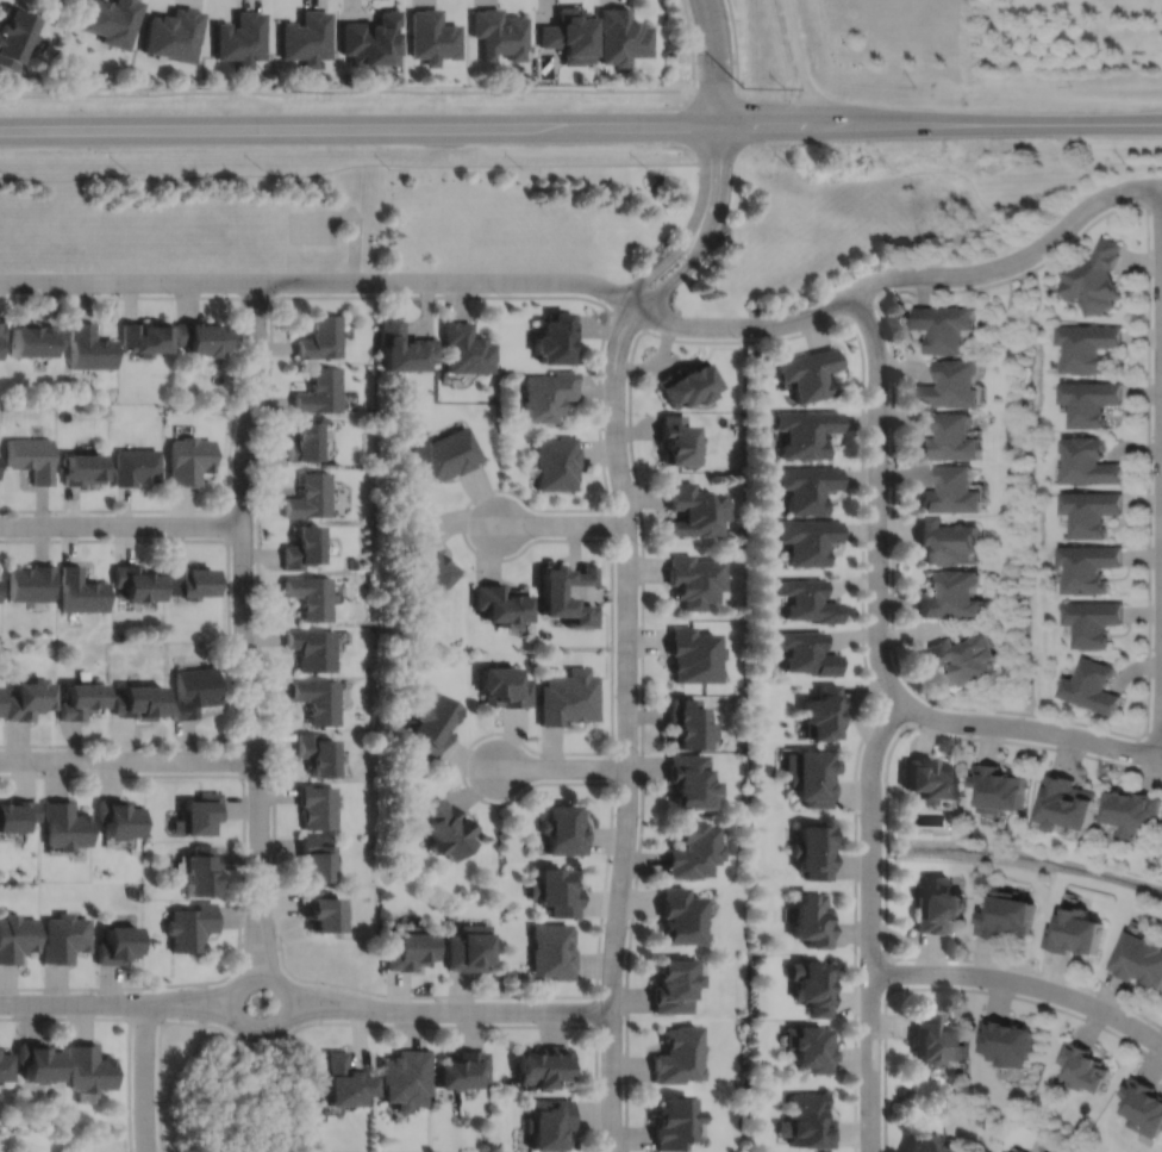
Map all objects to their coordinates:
building: (29, 0)
street lamp: (727, 18)
building: (112, 20)
building: (500, 32)
building: (174, 33)
building: (13, 35)
building: (569, 35)
building: (432, 36)
building: (620, 36)
building: (240, 37)
building: (307, 37)
building: (371, 38)
road: (733, 38)
road: (693, 44)
road: (714, 63)
road: (800, 63)
street lamp: (698, 80)
power tower: (742, 88)
power tower: (285, 89)
road: (357, 91)
road: (1020, 125)
road: (439, 129)
road: (717, 162)
road: (349, 164)
street lamp: (732, 188)
road: (1151, 204)
street lamp: (1062, 213)
road: (351, 216)
parking lot: (312, 226)
street lamp: (662, 251)
road: (673, 251)
road: (691, 261)
building: (1095, 279)
road: (129, 281)
street lamp: (948, 286)
street lamp: (60, 292)
street lamp: (170, 292)
street lamp: (374, 292)
street lamp: (499, 292)
street lamp: (279, 293)
road: (257, 295)
street lamp: (602, 300)
road: (861, 305)
road: (630, 318)
road: (723, 325)
building: (944, 328)
building: (1, 331)
building: (200, 337)
street lamp: (738, 337)
building: (145, 338)
building: (323, 338)
building: (555, 340)
road: (758, 340)
building: (33, 341)
building: (88, 348)
building: (1088, 348)
building: (405, 349)
building: (467, 349)
street lamp: (891, 354)
street lamp: (268, 362)
building: (811, 373)
street lamp: (1149, 376)
building: (686, 385)
building: (954, 385)
building: (321, 392)
road: (238, 394)
building: (549, 396)
building: (1092, 403)
street lamp: (627, 411)
building: (807, 432)
building: (951, 440)
building: (304, 442)
building: (676, 442)
street lamp: (235, 448)
road: (1154, 454)
building: (448, 455)
building: (32, 457)
building: (189, 460)
building: (1089, 461)
street lamp: (868, 462)
building: (556, 463)
building: (135, 467)
building: (82, 469)
road: (1161, 471)
building: (810, 486)
building: (954, 491)
road: (481, 493)
road: (1154, 494)
building: (311, 496)
road: (880, 497)
building: (694, 509)
building: (1091, 509)
street lamp: (55, 512)
road: (612, 522)
road: (562, 523)
road: (121, 524)
road: (229, 524)
street lamp: (164, 535)
street lamp: (536, 536)
building: (810, 537)
building: (948, 538)
street lamp: (641, 542)
building: (306, 546)
building: (429, 559)
building: (354, 562)
building: (1089, 565)
street lamp: (892, 566)
street lamp: (255, 572)
building: (189, 578)
building: (694, 578)
road: (244, 579)
building: (136, 580)
building: (32, 581)
building: (554, 587)
building: (81, 590)
building: (954, 593)
building: (311, 594)
building: (811, 598)
street lamp: (1150, 598)
building: (502, 602)
building: (1092, 619)
road: (231, 648)
building: (313, 648)
road: (1147, 649)
street lamp: (617, 650)
building: (810, 652)
building: (693, 653)
building: (964, 655)
street lamp: (261, 678)
building: (506, 685)
building: (1091, 685)
building: (194, 690)
building: (0, 693)
building: (569, 696)
building: (30, 698)
building: (80, 698)
building: (319, 698)
building: (137, 699)
building: (824, 711)
road: (898, 711)
building: (687, 722)
building: (432, 723)
road: (629, 726)
road: (1032, 729)
street lamp: (973, 734)
road: (1151, 734)
street lamp: (165, 747)
street lamp: (641, 751)
building: (318, 752)
street lamp: (536, 753)
road: (243, 758)
street lamp: (1110, 758)
road: (129, 760)
road: (613, 762)
road: (563, 767)
street lamp: (40, 771)
building: (812, 774)
building: (933, 779)
building: (689, 780)
street lamp: (248, 786)
building: (1000, 786)
building: (1067, 802)
building: (318, 804)
building: (1130, 810)
building: (201, 812)
building: (18, 814)
building: (118, 816)
building: (64, 823)
building: (449, 829)
building: (564, 829)
street lamp: (883, 834)
building: (692, 851)
building: (814, 851)
road: (887, 851)
building: (317, 857)
street lamp: (613, 861)
road: (245, 868)
building: (201, 870)
building: (557, 890)
building: (939, 905)
building: (323, 911)
building: (681, 915)
building: (1010, 915)
building: (813, 920)
road: (871, 921)
building: (190, 926)
road: (252, 928)
road: (267, 928)
building: (1075, 932)
building: (18, 936)
building: (64, 936)
building: (118, 944)
road: (261, 945)
building: (470, 947)
building: (408, 949)
street lamp: (626, 949)
building: (554, 951)
street lamp: (861, 953)
building: (1138, 959)
street lamp: (238, 967)
road: (892, 972)
road: (263, 973)
road: (1023, 982)
building: (673, 984)
street lamp: (329, 985)
building: (813, 985)
street lamp: (979, 986)
road: (951, 988)
street lamp: (95, 990)
road: (192, 994)
road: (338, 997)
street lamp: (437, 998)
road: (75, 1002)
road: (204, 1002)
road: (192, 1010)
road: (504, 1010)
road: (337, 1011)
road: (149, 1017)
road: (130, 1020)
road: (310, 1022)
street lamp: (589, 1022)
street lamp: (1148, 1022)
street lamp: (132, 1023)
building: (938, 1040)
street lamp: (883, 1041)
building: (1007, 1041)
building: (811, 1048)
building: (677, 1056)
building: (39, 1061)
building: (5, 1065)
building: (545, 1066)
building: (1083, 1066)
building: (88, 1067)
building: (461, 1070)
road: (598, 1073)
road: (145, 1077)
building: (404, 1079)
building: (344, 1082)
street lamp: (600, 1095)
building: (1142, 1107)
building: (673, 1122)
building: (807, 1122)
building: (551, 1123)
building: (932, 1144)
building: (1012, 1150)

